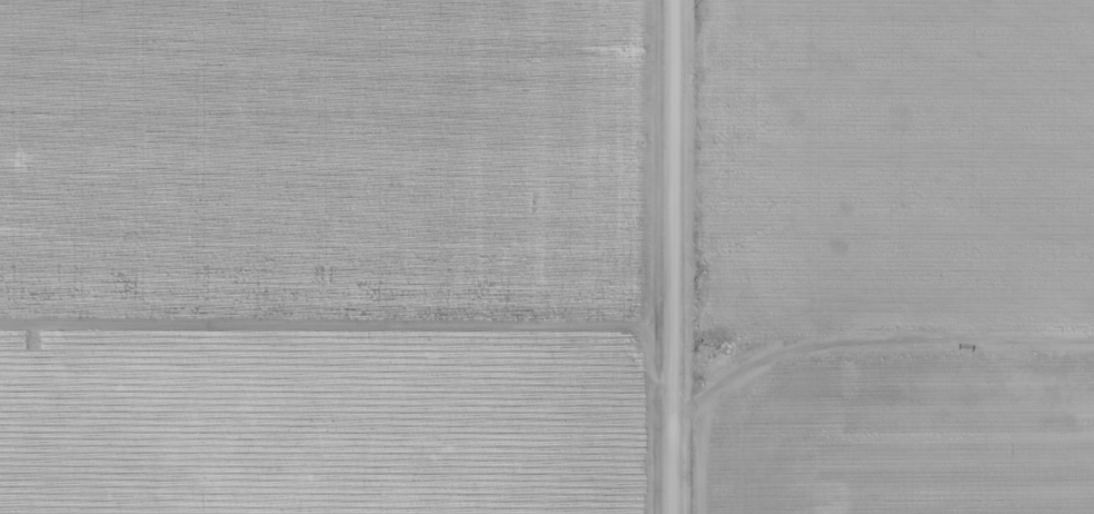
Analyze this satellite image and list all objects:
road: (676, 257)

